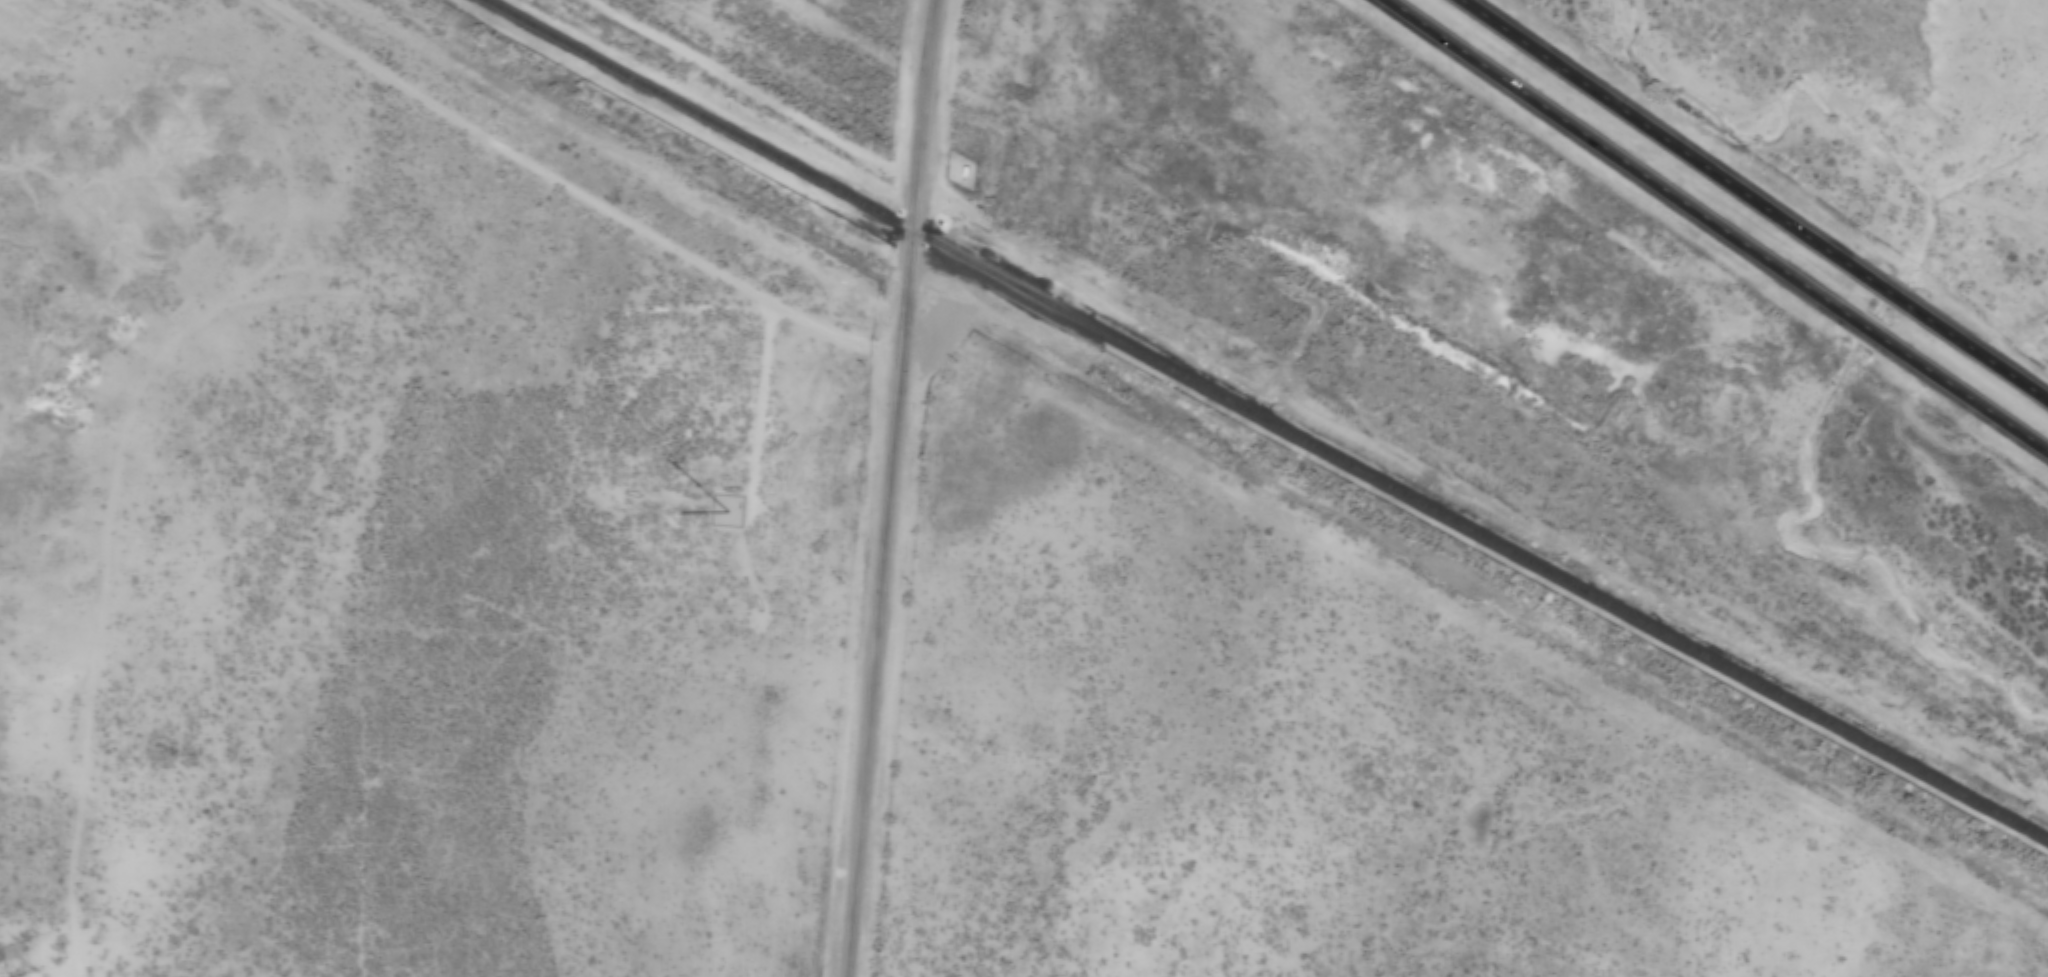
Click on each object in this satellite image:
road: (493, 150)
building: (955, 167)
road: (1754, 202)
road: (1719, 222)
road: (216, 318)
railway: (1264, 423)
road: (889, 488)

